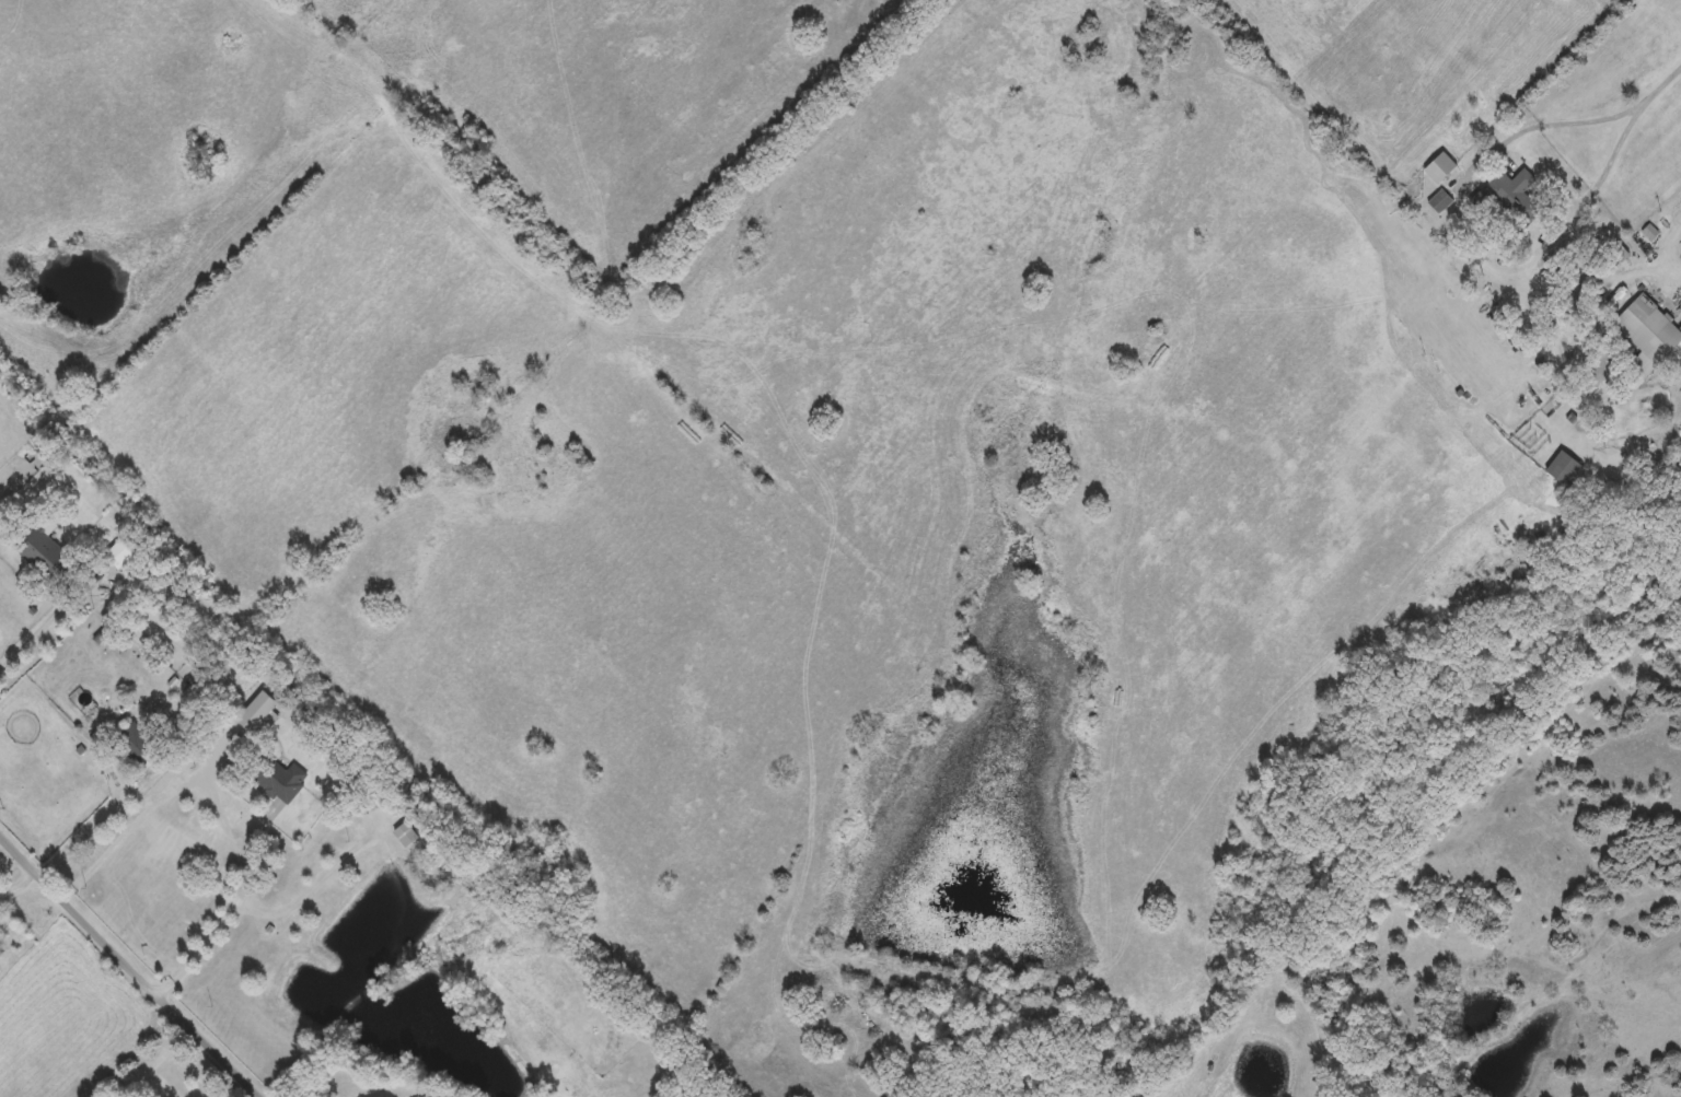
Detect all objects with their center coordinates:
road: (1600, 114)
building: (1440, 165)
building: (1505, 186)
building: (1440, 200)
road: (1669, 244)
building: (1648, 331)
building: (1564, 466)
building: (39, 548)
road: (44, 626)
building: (232, 732)
building: (135, 740)
building: (278, 777)
road: (155, 804)
road: (119, 808)
building: (406, 832)
road: (25, 849)
road: (23, 882)
road: (220, 922)
road: (155, 988)
road: (155, 1061)

